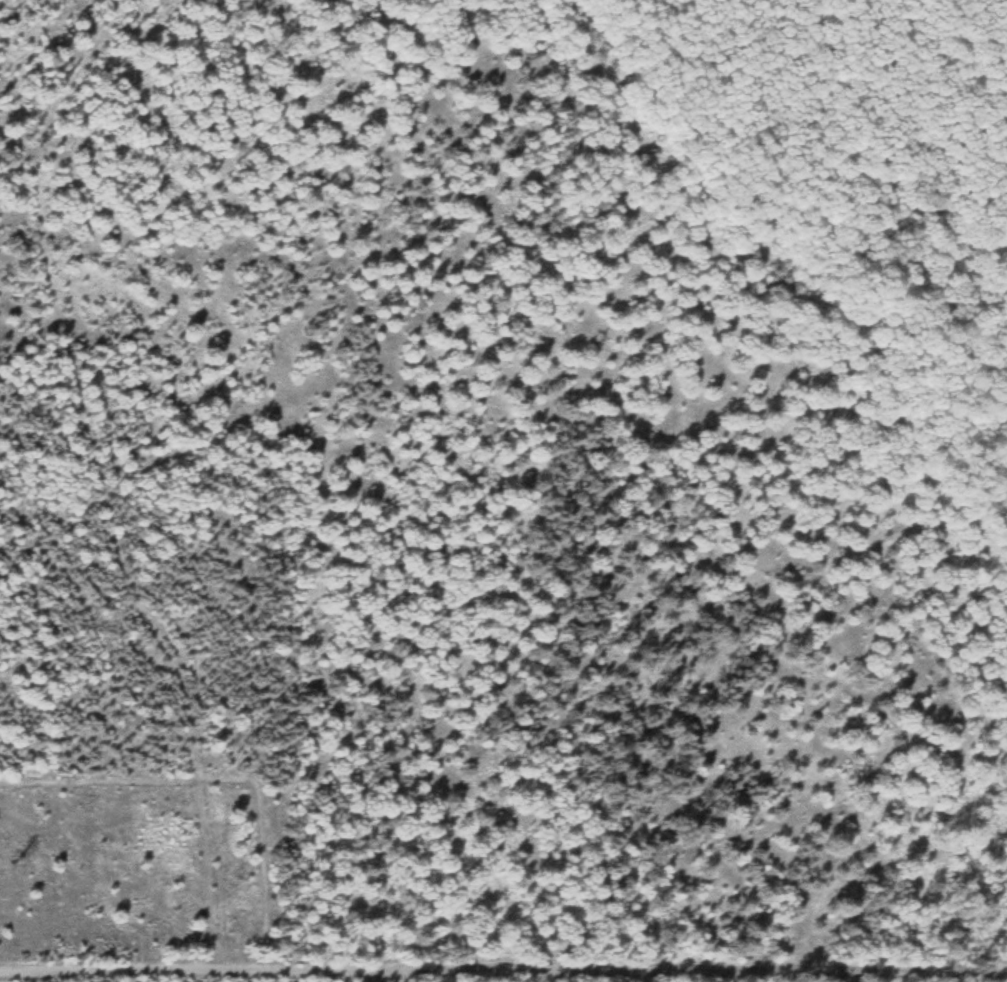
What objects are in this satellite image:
road: (503, 970)

